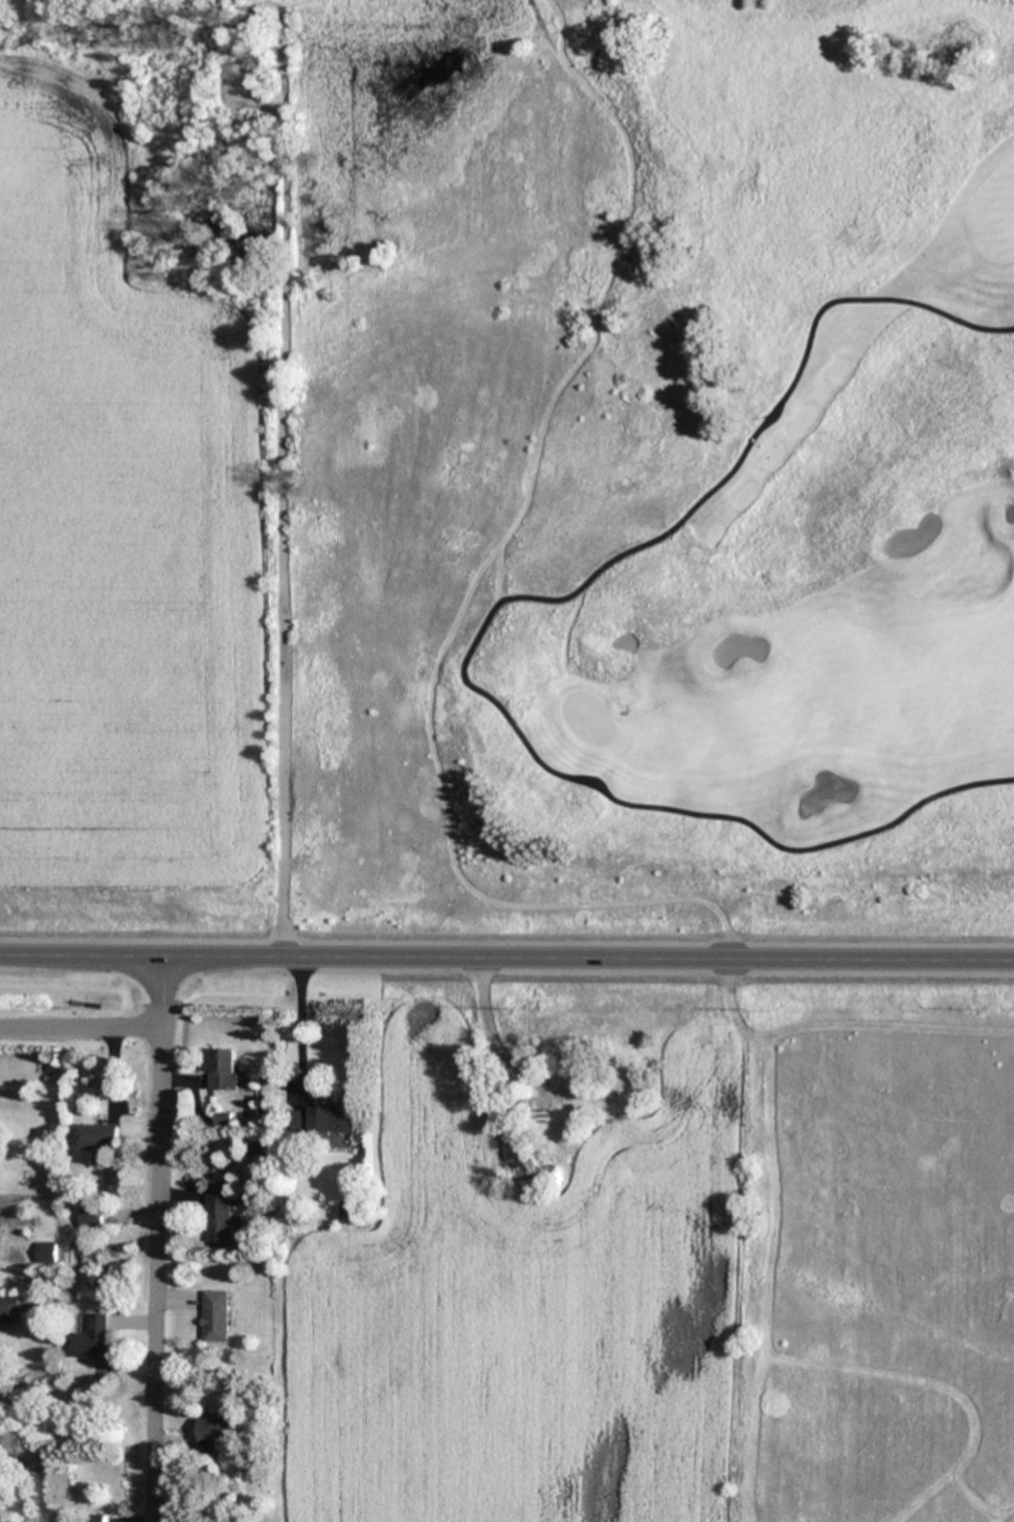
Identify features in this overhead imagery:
park: (646, 475)
crop: (129, 551)
road: (487, 622)
road: (507, 957)
road: (79, 1027)
road: (299, 1027)
building: (570, 1057)
building: (223, 1069)
building: (322, 1122)
building: (100, 1138)
building: (261, 1146)
building: (540, 1173)
building: (218, 1215)
building: (92, 1218)
road: (157, 1239)
building: (48, 1253)
crop: (662, 1254)
building: (11, 1308)
building: (217, 1315)
building: (97, 1338)
building: (214, 1431)
building: (99, 1520)

